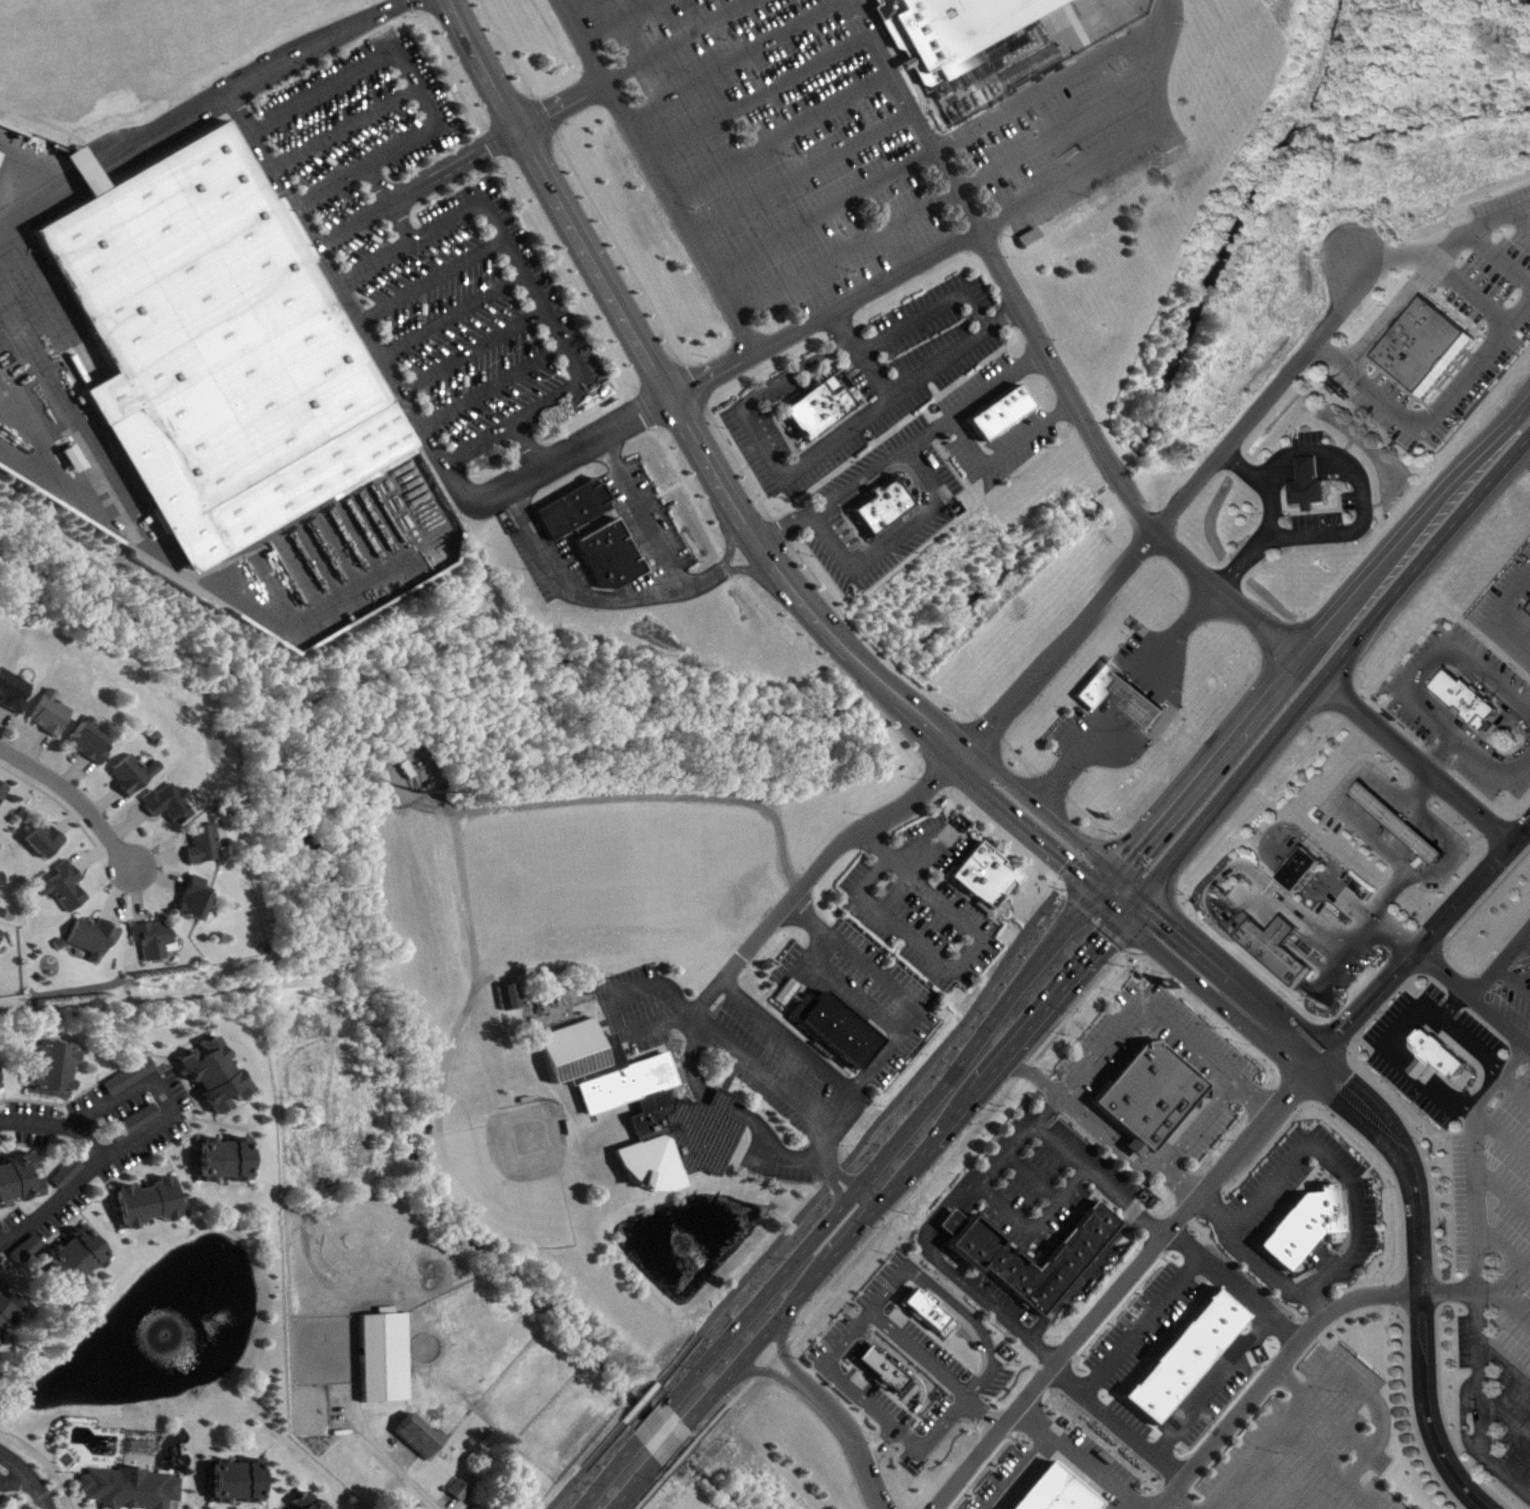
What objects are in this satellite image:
road: (563, 1)
road: (622, 21)
building: (953, 30)
road: (676, 41)
road: (728, 59)
building: (1045, 66)
road: (1056, 79)
road: (249, 82)
road: (417, 87)
road: (757, 95)
road: (562, 104)
road: (344, 127)
road: (778, 133)
parking lot: (848, 144)
road: (1090, 165)
road: (799, 171)
road: (656, 174)
road: (971, 176)
road: (417, 185)
road: (390, 201)
road: (822, 212)
road: (1521, 217)
road: (1475, 228)
building: (1032, 241)
road: (1391, 255)
parking lot: (423, 256)
road: (1500, 256)
road: (432, 280)
road: (533, 292)
road: (1464, 296)
road: (1387, 312)
road: (451, 313)
road: (824, 313)
road: (998, 316)
parking lot: (1446, 326)
building: (219, 336)
building: (1418, 342)
road: (472, 349)
road: (860, 352)
road: (1047, 352)
road: (788, 369)
road: (916, 376)
parking lot: (871, 381)
road: (492, 384)
parking lot: (979, 386)
road: (405, 398)
building: (815, 408)
road: (1430, 409)
building: (996, 410)
road: (927, 430)
road: (528, 446)
parking lot: (1001, 446)
road: (1003, 449)
road: (735, 460)
building: (1311, 486)
road: (1365, 491)
building: (879, 504)
building: (569, 506)
parking lot: (882, 506)
road: (644, 513)
road: (1273, 518)
parking lot: (644, 523)
road: (783, 525)
road: (1415, 526)
building: (606, 552)
road: (1426, 555)
parking lot: (548, 561)
road: (612, 603)
road: (1201, 609)
road: (1496, 618)
road: (1427, 665)
building: (11, 689)
road: (1023, 690)
building: (1465, 696)
building: (1124, 697)
parking lot: (1131, 701)
road: (2, 709)
building: (47, 711)
building: (86, 740)
road: (36, 747)
road: (1415, 759)
road: (1488, 764)
road: (73, 770)
road: (984, 770)
building: (129, 772)
road: (946, 783)
road: (1060, 785)
building: (4, 795)
road: (75, 795)
road: (631, 795)
road: (104, 800)
building: (165, 801)
road: (68, 811)
building: (1399, 820)
gas station: (1399, 820)
road: (127, 823)
road: (1100, 832)
road: (1375, 834)
building: (41, 838)
building: (199, 842)
road: (91, 853)
road: (1282, 853)
road: (1079, 855)
road: (156, 857)
road: (1277, 859)
road: (1301, 865)
building: (1299, 867)
road: (868, 871)
road: (1296, 871)
road: (156, 874)
building: (983, 875)
road: (1060, 877)
road: (1290, 877)
road: (1321, 879)
building: (3, 883)
traffic signals: (1106, 883)
building: (62, 884)
road: (1308, 885)
road: (1318, 886)
road: (116, 890)
road: (137, 892)
road: (468, 896)
building: (190, 897)
road: (1289, 901)
parking lot: (918, 903)
road: (1379, 903)
traffic signals: (1131, 904)
road: (1376, 919)
building: (91, 933)
building: (150, 935)
building: (2, 938)
building: (58, 939)
road: (976, 942)
road: (1524, 942)
building: (1272, 943)
road: (1267, 952)
road: (1500, 960)
road: (1028, 969)
road: (1512, 980)
road: (844, 984)
road: (894, 988)
parking lot: (1505, 989)
parking lot: (873, 992)
road: (1058, 992)
building: (509, 1000)
road: (1159, 1014)
building: (833, 1025)
parking lot: (1201, 1045)
building: (1434, 1053)
building: (49, 1063)
road: (818, 1065)
building: (209, 1067)
building: (126, 1072)
parking lot: (788, 1072)
road: (1032, 1073)
road: (768, 1075)
building: (132, 1079)
road: (1513, 1090)
building: (0, 1092)
building: (1146, 1093)
road: (717, 1096)
building: (640, 1104)
road: (93, 1113)
building: (131, 1116)
road: (1199, 1121)
building: (137, 1125)
road: (1501, 1131)
road: (1108, 1135)
road: (864, 1136)
road: (1020, 1139)
road: (91, 1140)
road: (956, 1143)
building: (1139, 1151)
building: (219, 1153)
road: (799, 1155)
road: (1225, 1161)
road: (91, 1168)
building: (63, 1170)
building: (19, 1172)
road: (1033, 1175)
parking lot: (1045, 1177)
road: (1099, 1178)
road: (1342, 1178)
parking lot: (1271, 1182)
road: (1268, 1185)
road: (1307, 1187)
road: (1503, 1193)
building: (142, 1196)
road: (1289, 1197)
road: (967, 1198)
road: (1290, 1198)
road: (1354, 1205)
building: (1328, 1206)
road: (947, 1219)
road: (1270, 1221)
road: (1035, 1224)
building: (1290, 1229)
fountain: (683, 1231)
road: (926, 1231)
road: (1261, 1233)
road: (935, 1239)
road: (1240, 1245)
road: (1504, 1247)
building: (29, 1252)
building: (72, 1252)
building: (987, 1254)
parking lot: (1496, 1264)
road: (1475, 1269)
road: (1081, 1272)
road: (1480, 1290)
road: (1320, 1302)
building: (919, 1310)
building: (9, 1312)
road: (1013, 1324)
road: (732, 1329)
fountain: (164, 1331)
road: (756, 1342)
road: (781, 1344)
road: (782, 1345)
building: (378, 1353)
road: (771, 1357)
road: (1505, 1359)
parking lot: (847, 1367)
road: (760, 1369)
building: (876, 1369)
road: (933, 1369)
road: (760, 1371)
road: (833, 1371)
road: (907, 1371)
road: (1270, 1371)
road: (682, 1386)
road: (707, 1399)
road: (640, 1400)
road: (727, 1402)
road: (1321, 1409)
road: (1506, 1416)
road: (650, 1422)
road: (674, 1436)
building: (410, 1437)
road: (849, 1439)
road: (913, 1441)
parking lot: (1307, 1446)
road: (684, 1450)
road: (1255, 1451)
road: (1362, 1457)
road: (585, 1464)
building: (230, 1474)
road: (605, 1475)
road: (27, 1477)
road: (634, 1482)
building: (126, 1484)
building: (454, 1485)
road: (649, 1490)
building: (462, 1493)
road: (1361, 1493)
building: (305, 1499)
road: (1180, 1500)
building: (474, 1506)
building: (332, 1508)

